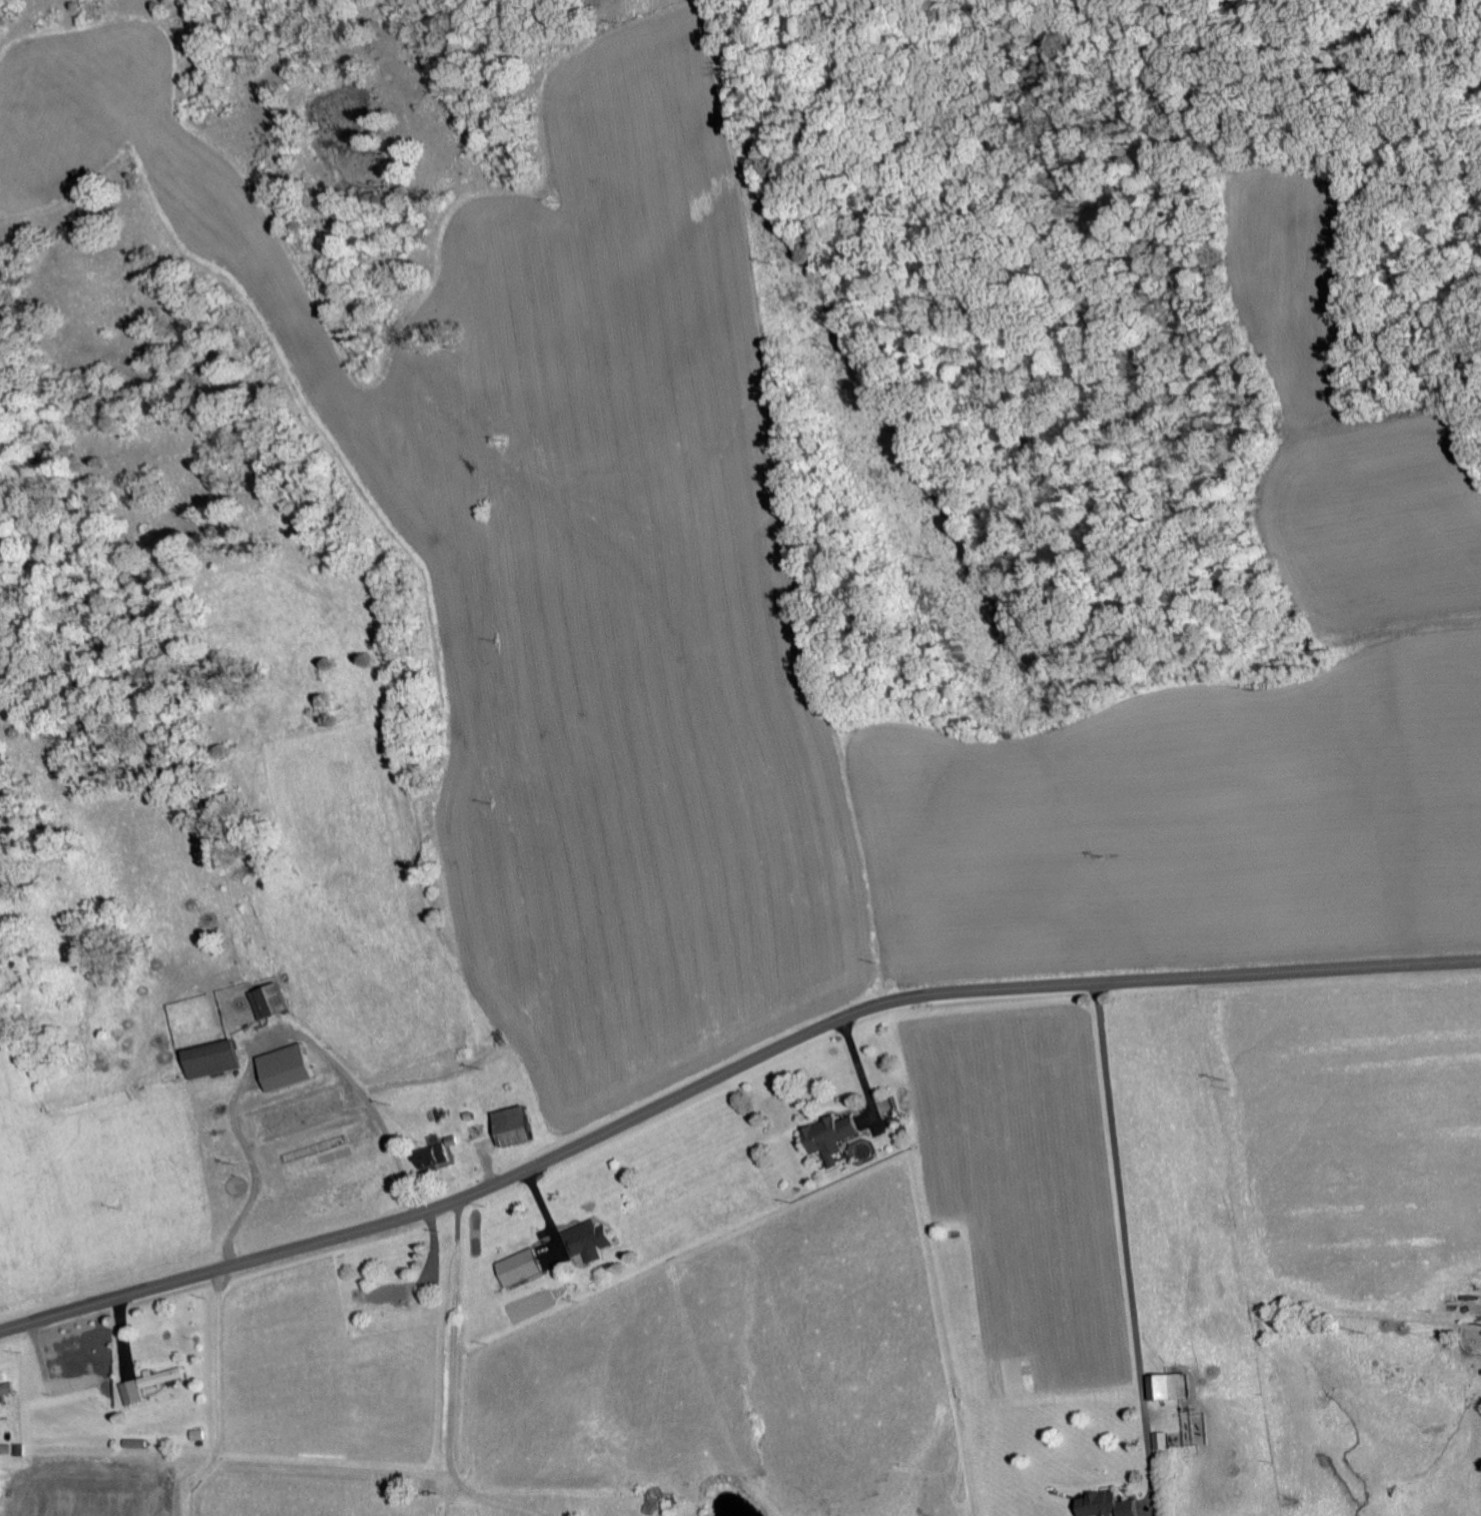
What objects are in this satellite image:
road: (1116, 515)
road: (720, 917)
building: (266, 1000)
building: (207, 1058)
building: (281, 1067)
road: (725, 1075)
building: (509, 1125)
building: (475, 1131)
building: (828, 1136)
building: (430, 1156)
building: (585, 1240)
road: (1064, 1251)
building: (518, 1267)
building: (161, 1376)
building: (1165, 1386)
building: (131, 1391)
building: (1159, 1440)
building: (4, 1449)
building: (1099, 1504)

